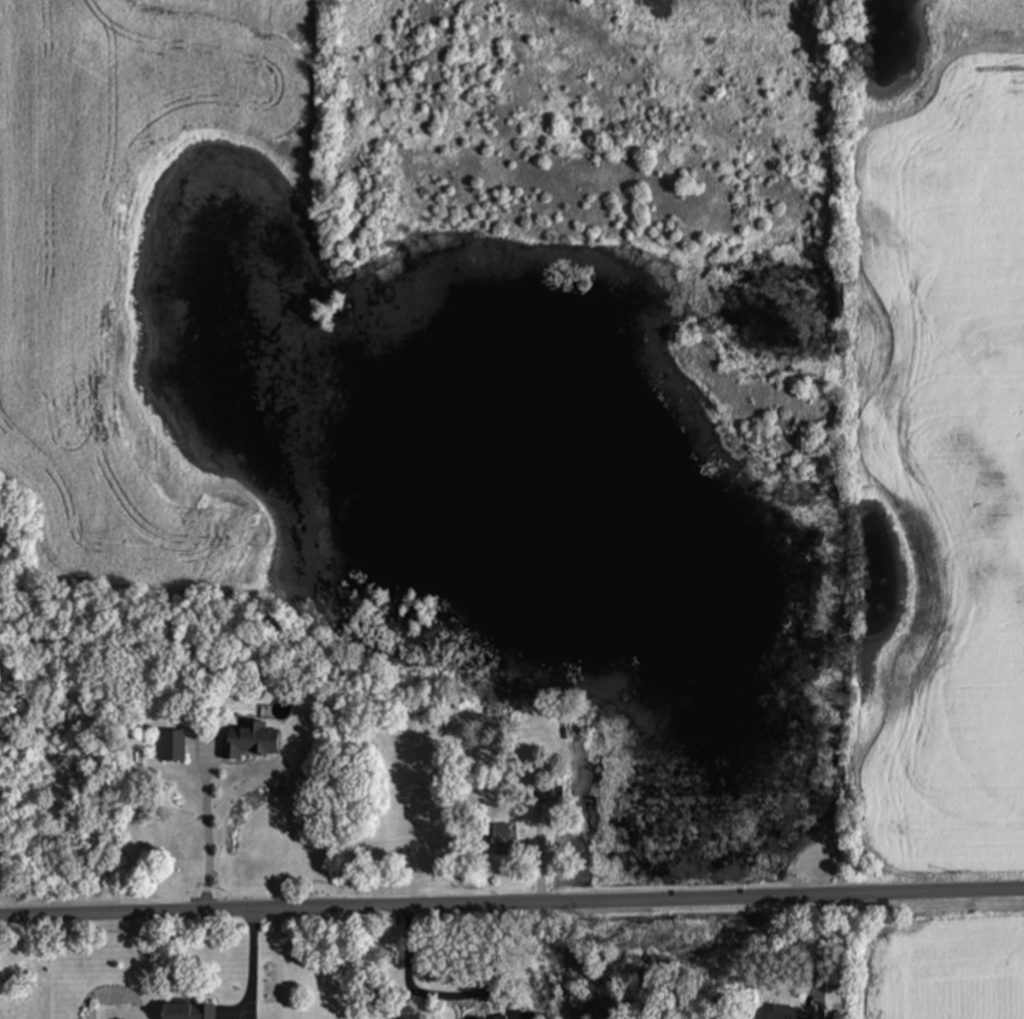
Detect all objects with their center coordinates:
building: (253, 742)
building: (174, 746)
building: (544, 795)
road: (206, 833)
building: (504, 840)
road: (512, 899)
road: (251, 963)
road: (423, 995)
building: (190, 1011)
building: (789, 1013)
building: (501, 1018)

